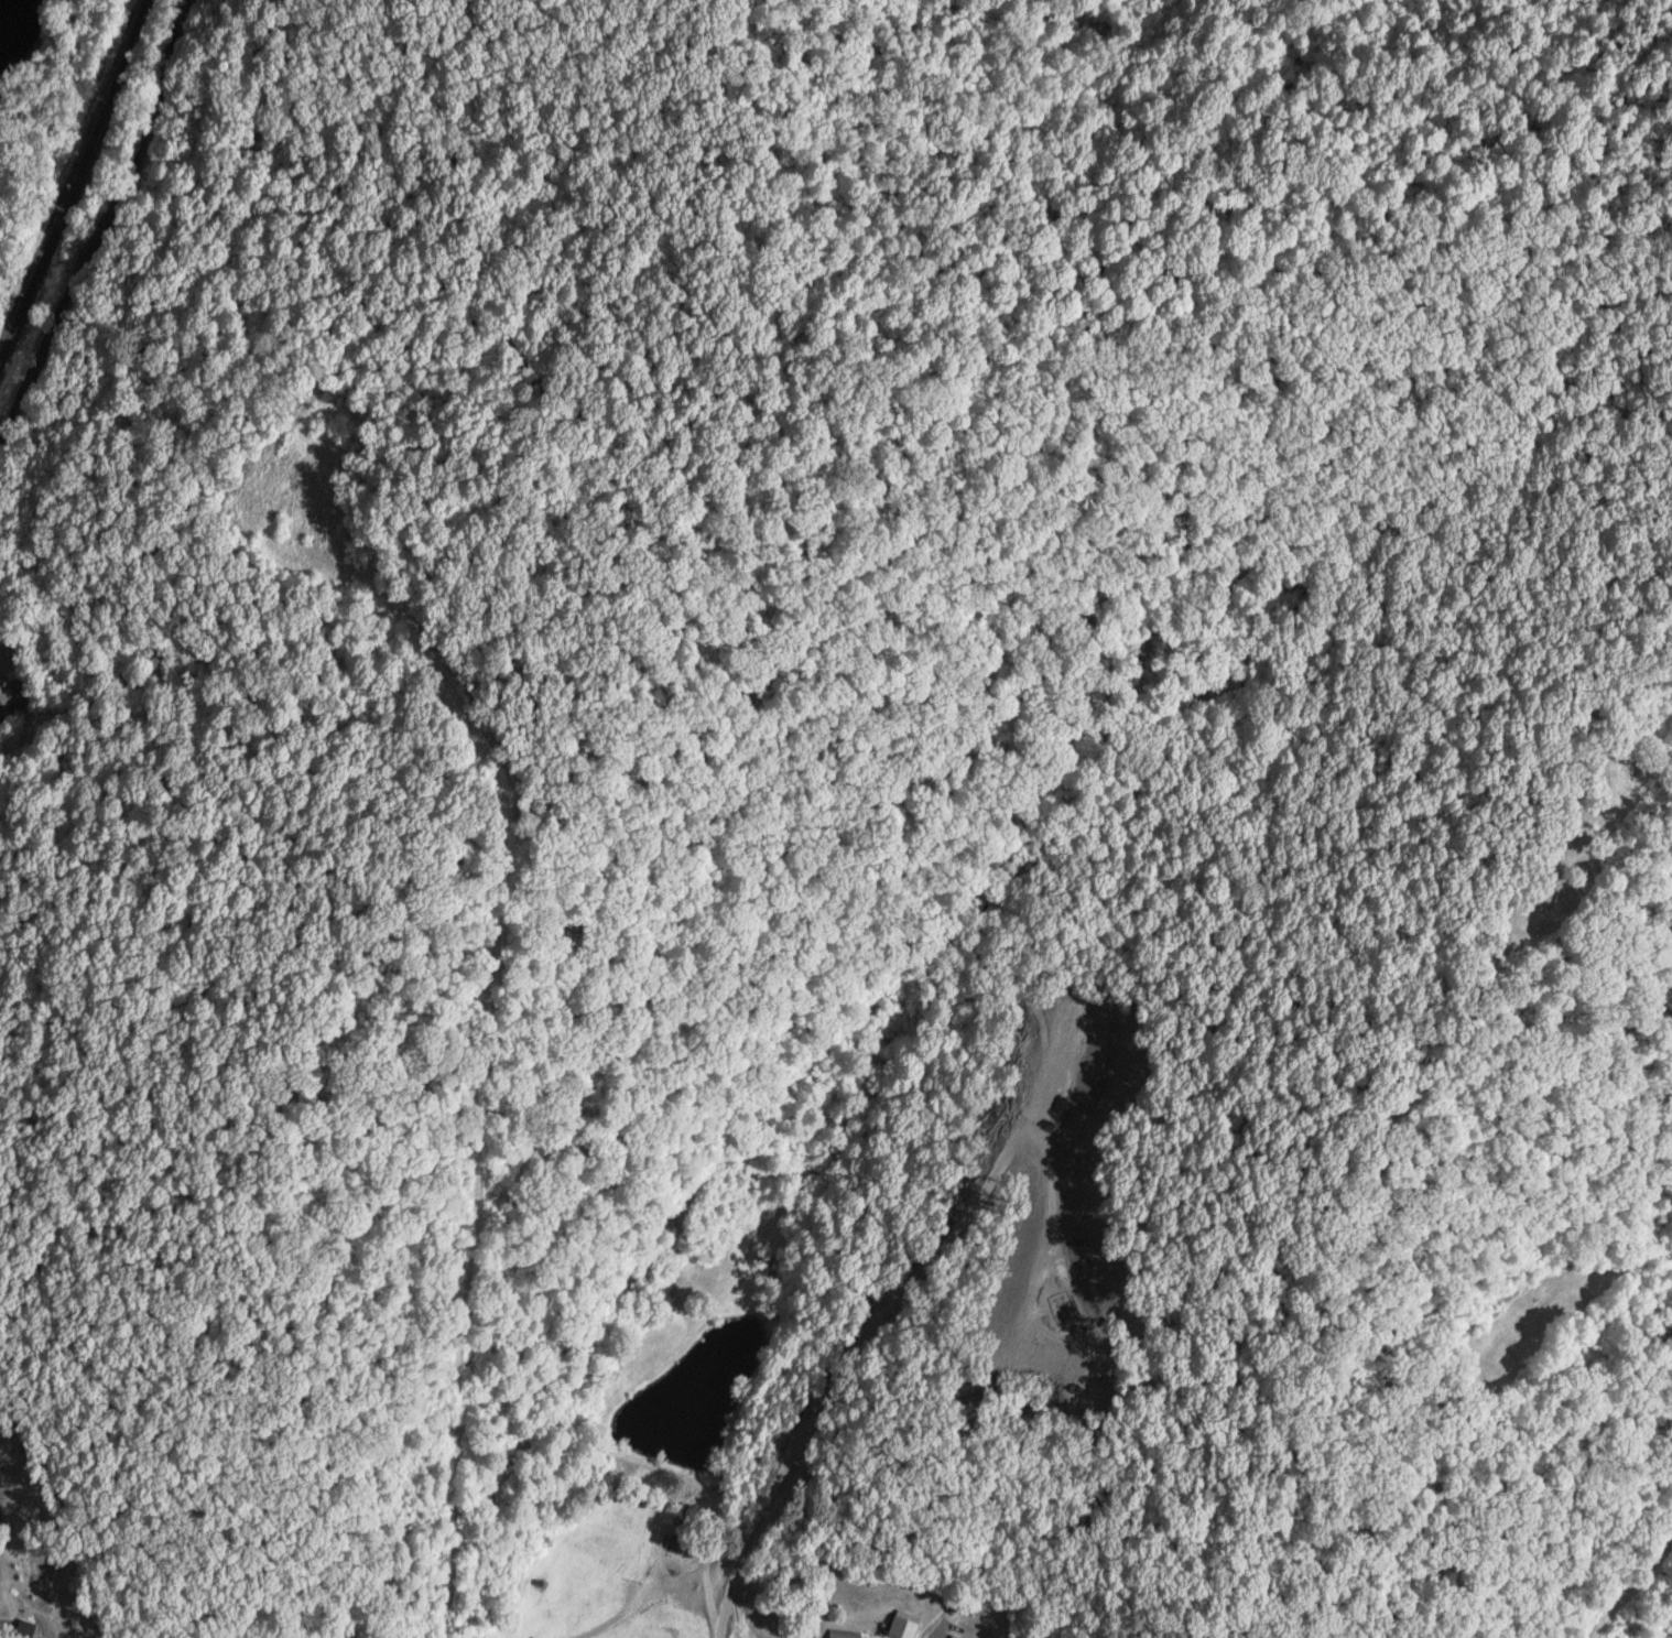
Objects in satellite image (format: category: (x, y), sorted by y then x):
railway: (47, 177)
road: (131, 226)
building: (899, 1627)
building: (23, 1634)
building: (842, 1634)
building: (952, 1637)

